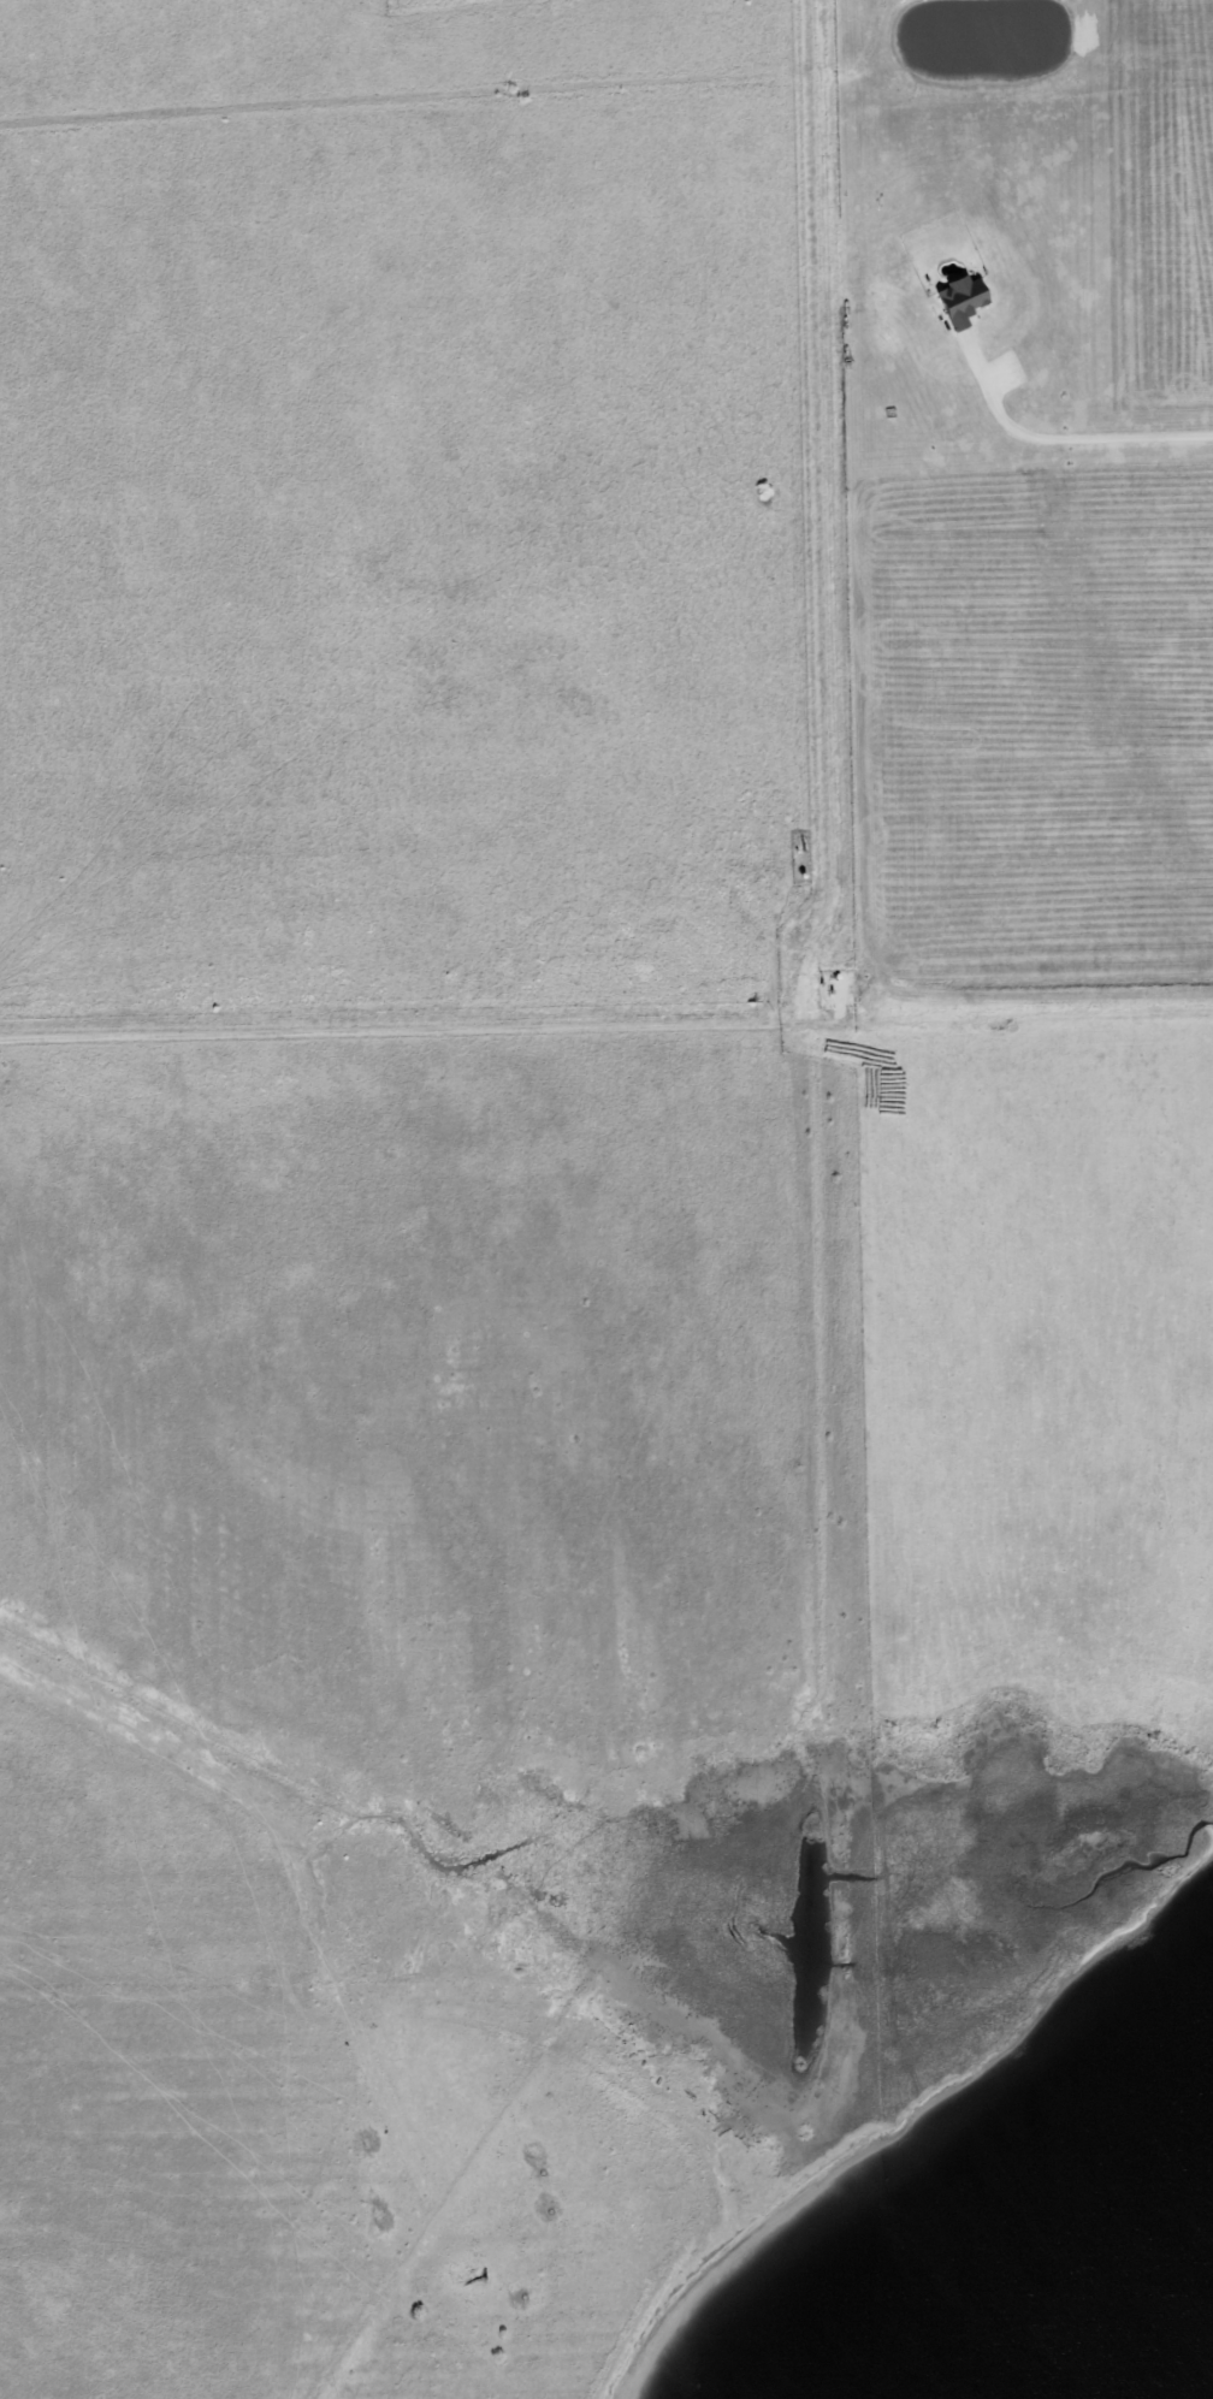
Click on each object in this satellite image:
road: (420, 1038)

